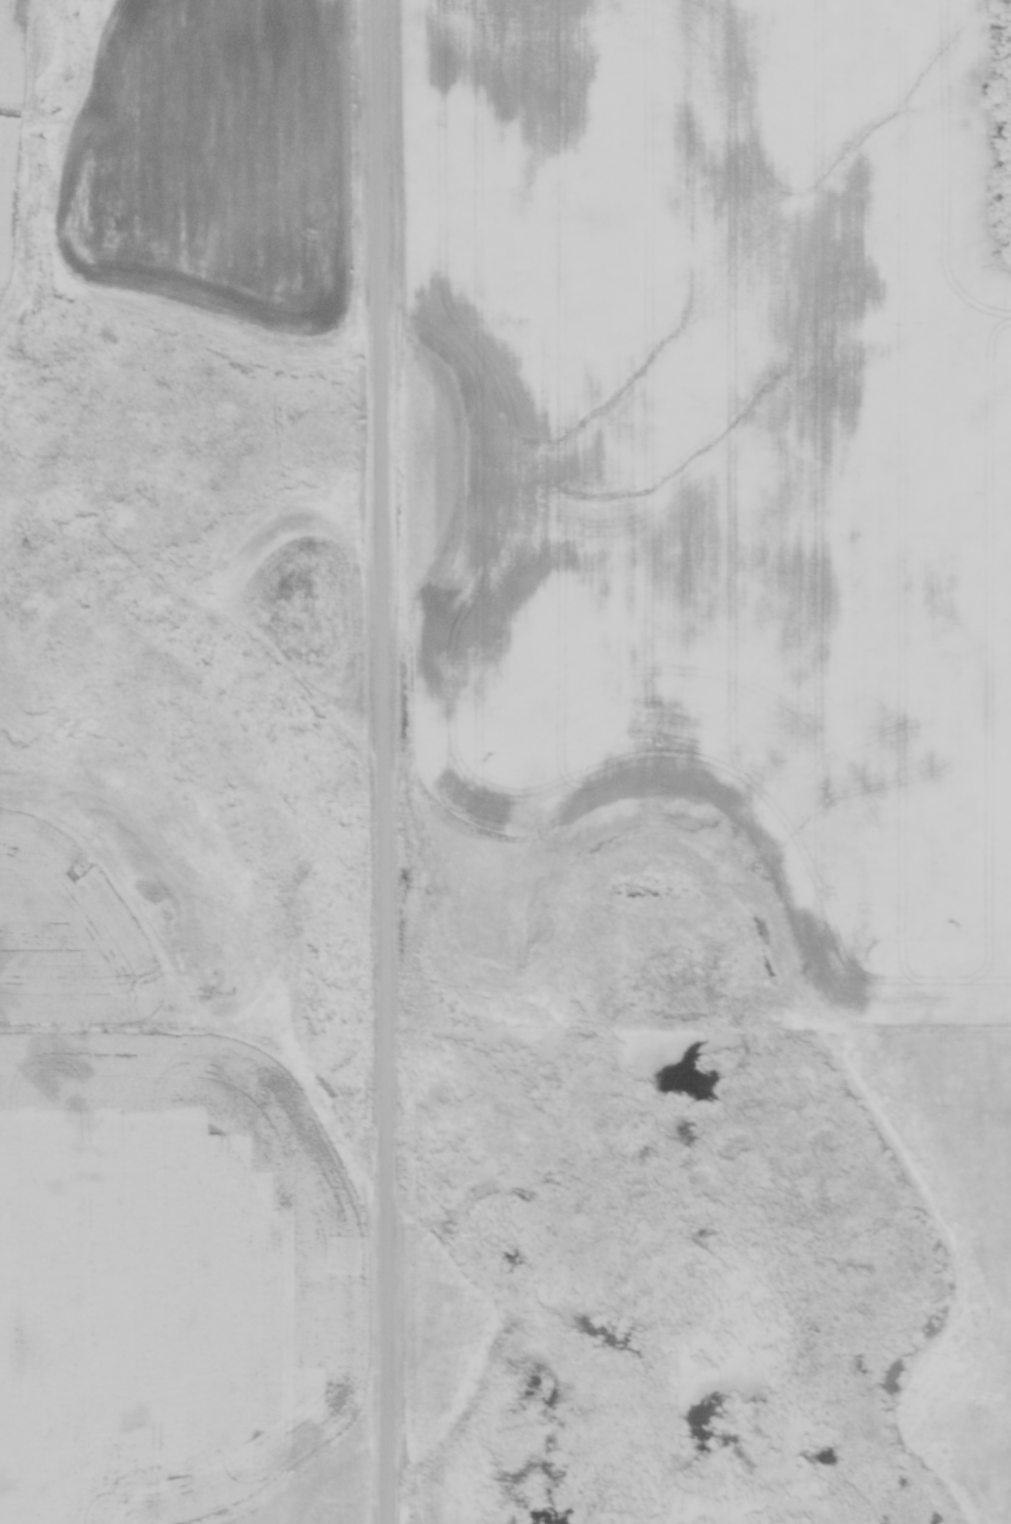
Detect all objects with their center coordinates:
road: (385, 762)

